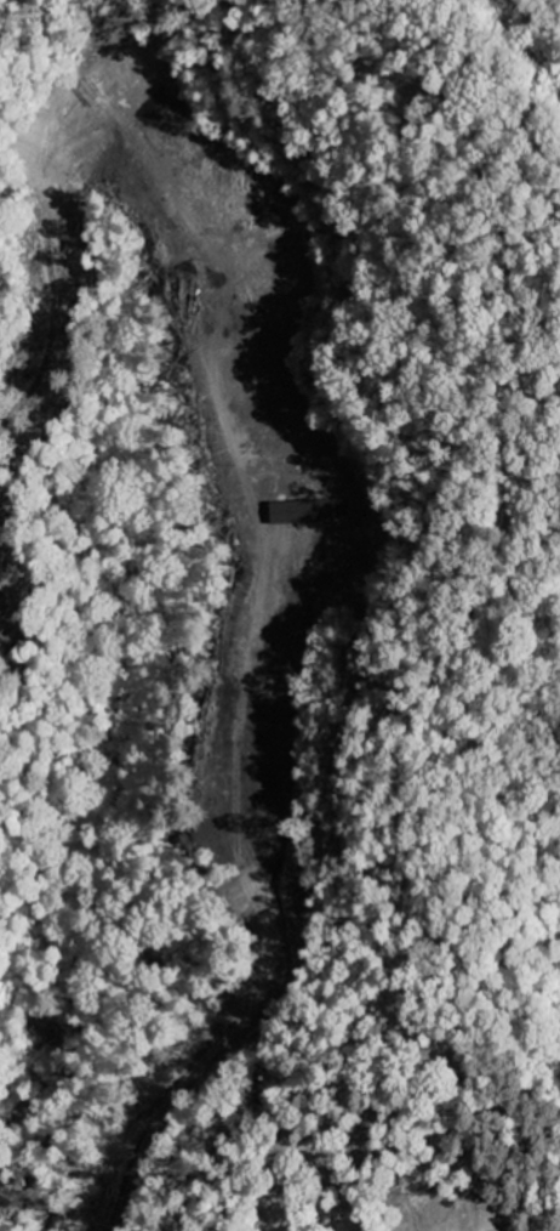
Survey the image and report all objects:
road: (170, 1076)

